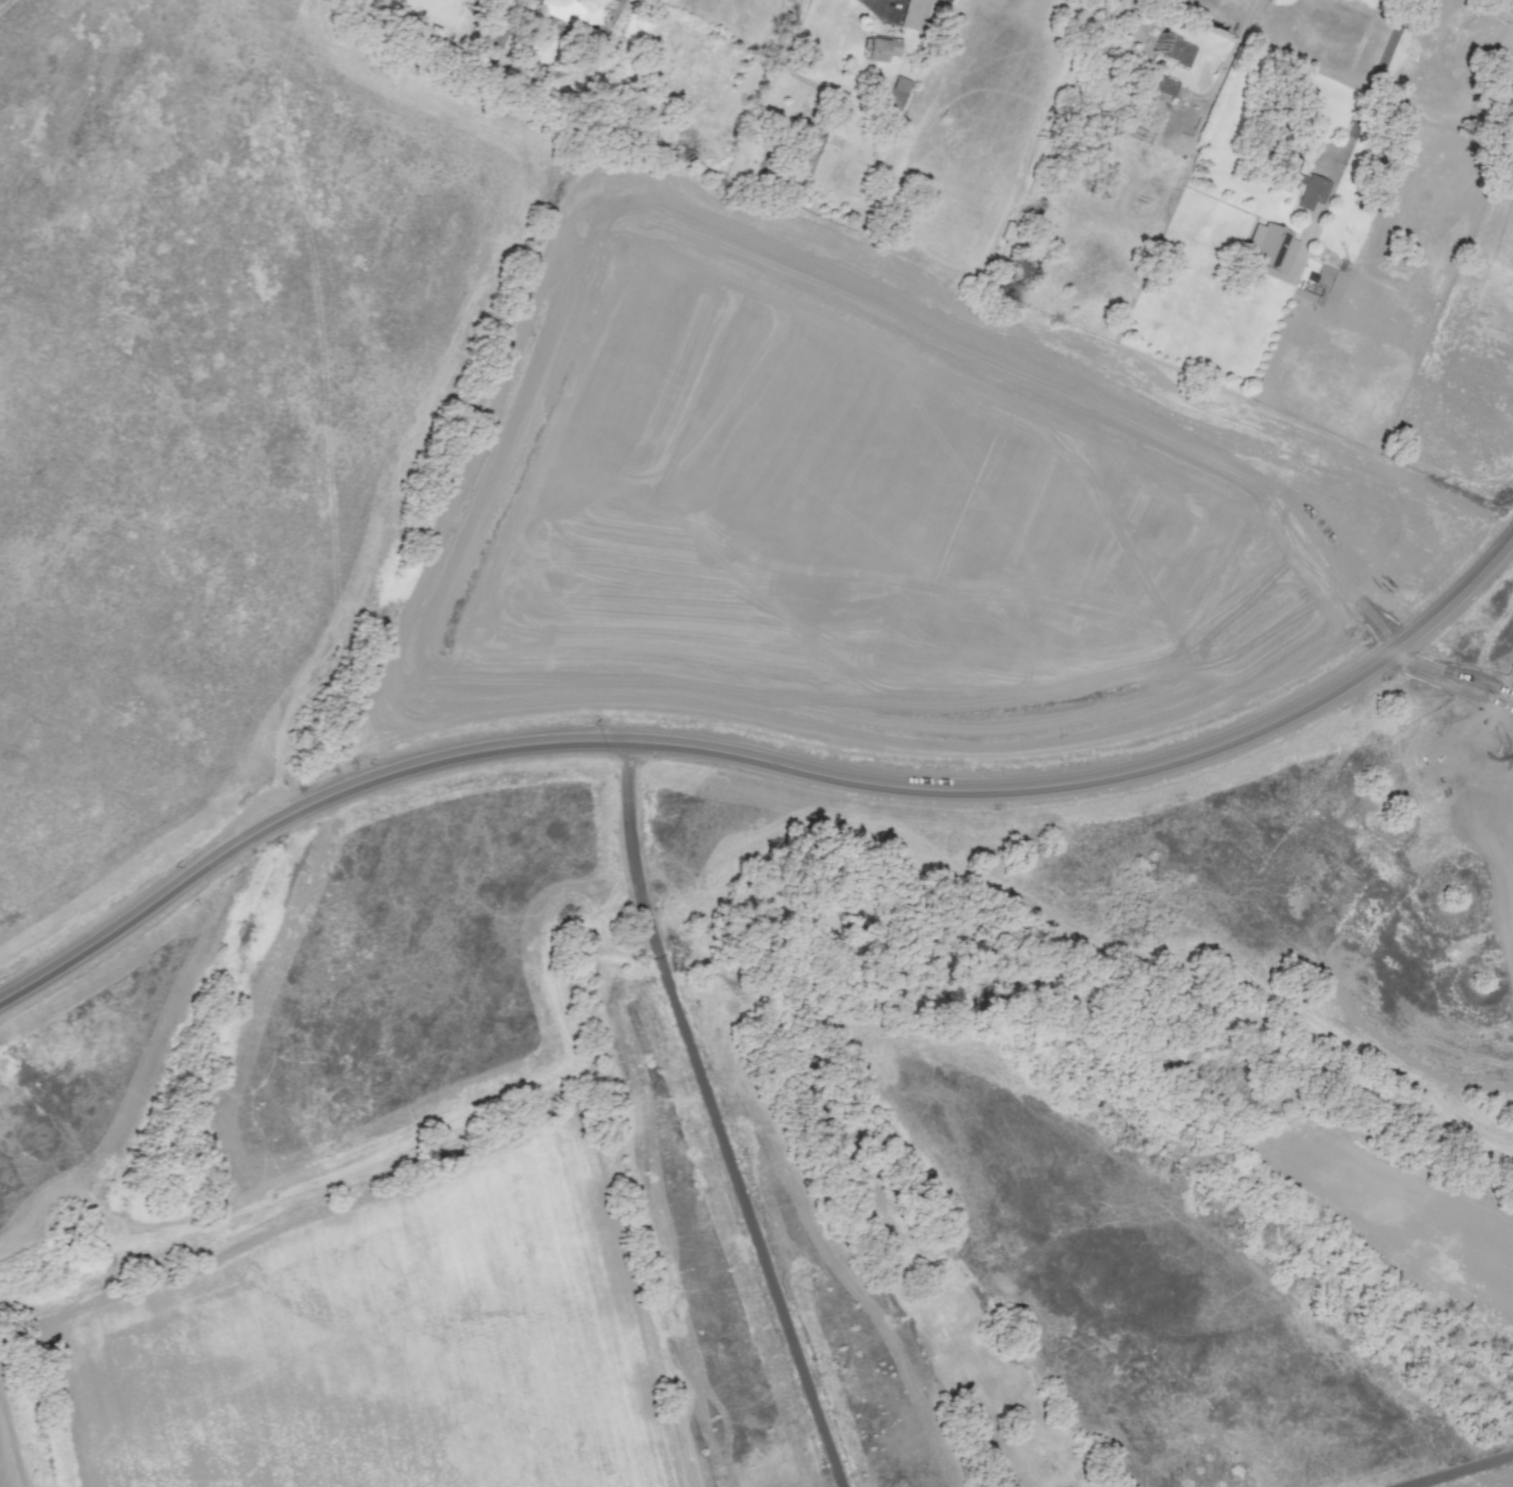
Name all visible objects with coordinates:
building: (914, 14)
road: (1344, 24)
road: (1393, 33)
building: (881, 47)
building: (1175, 49)
road: (1228, 59)
building: (1165, 85)
building: (896, 92)
building: (1162, 108)
road: (1358, 117)
building: (1292, 174)
building: (1271, 245)
building: (1316, 261)
road: (762, 758)
road: (714, 1117)
crop: (8, 1453)
road: (1455, 1469)

